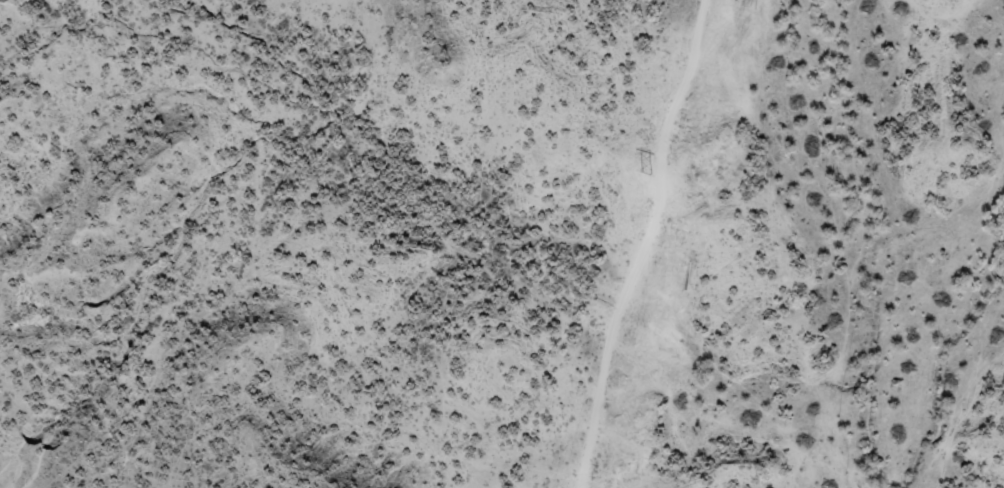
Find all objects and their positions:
power tower: (647, 172)

